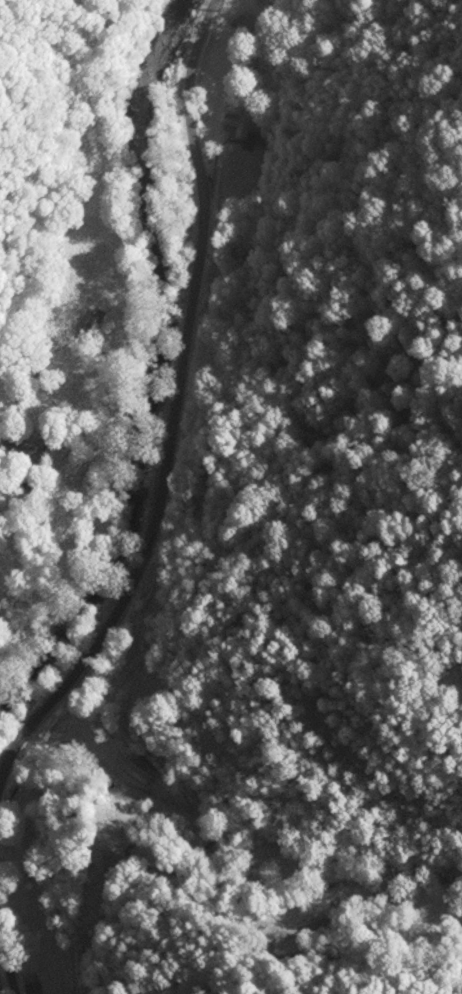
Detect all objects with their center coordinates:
building: (245, 24)
building: (237, 126)
building: (93, 325)
road: (175, 403)
building: (31, 449)
building: (140, 768)
building: (33, 913)
road: (7, 964)

